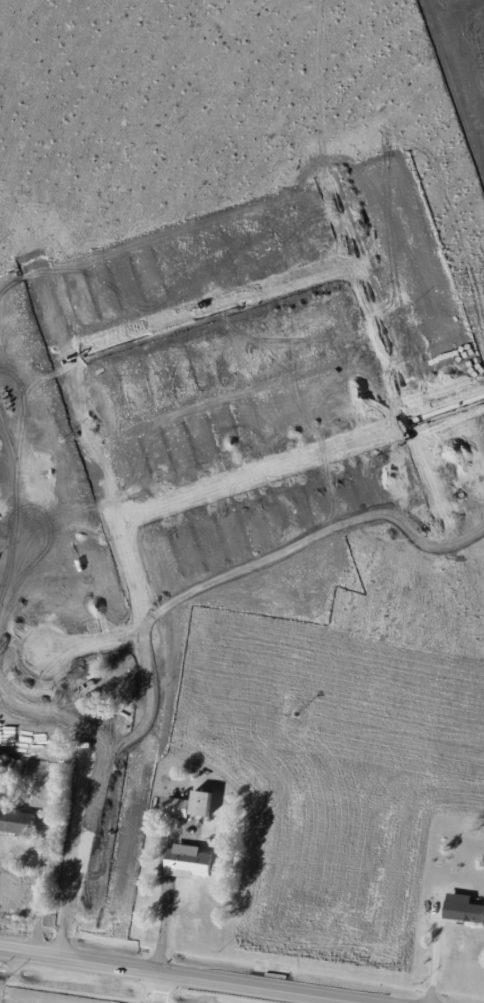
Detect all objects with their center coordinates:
road: (360, 290)
road: (204, 303)
road: (298, 453)
road: (444, 521)
road: (141, 603)
building: (76, 640)
road: (98, 643)
road: (428, 715)
building: (100, 720)
road: (482, 725)
building: (189, 804)
building: (16, 821)
road: (70, 848)
building: (187, 860)
road: (42, 886)
building: (462, 907)
road: (162, 925)
road: (435, 957)
road: (188, 976)
road: (154, 988)

